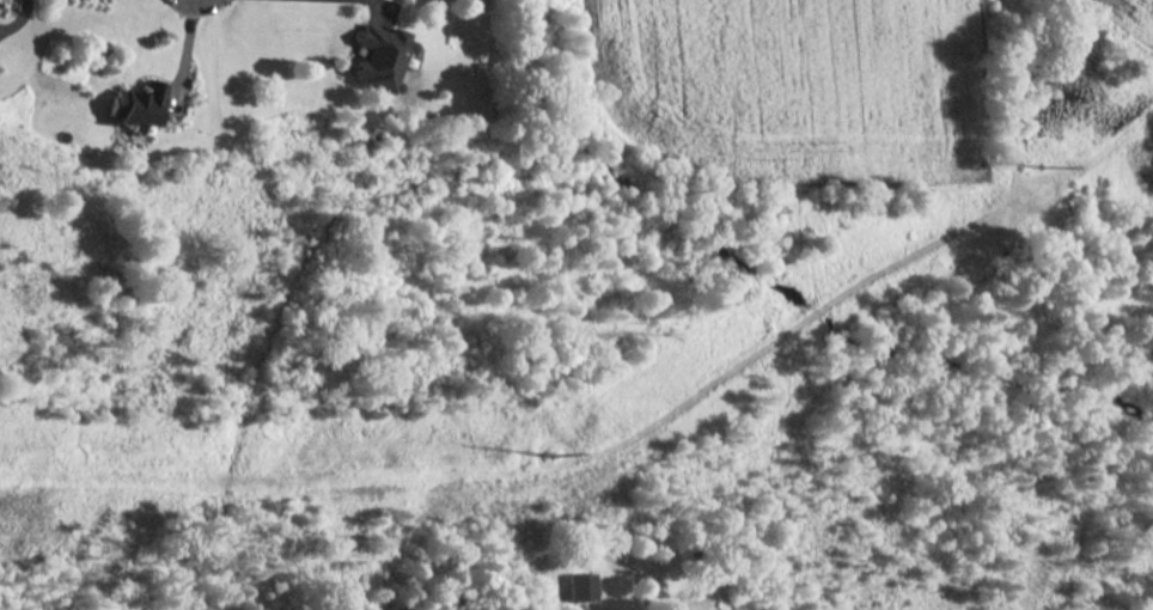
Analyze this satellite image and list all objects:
road: (378, 4)
road: (185, 51)
building: (380, 55)
building: (136, 104)
power tower: (1032, 166)
power tower: (548, 447)
building: (581, 586)

